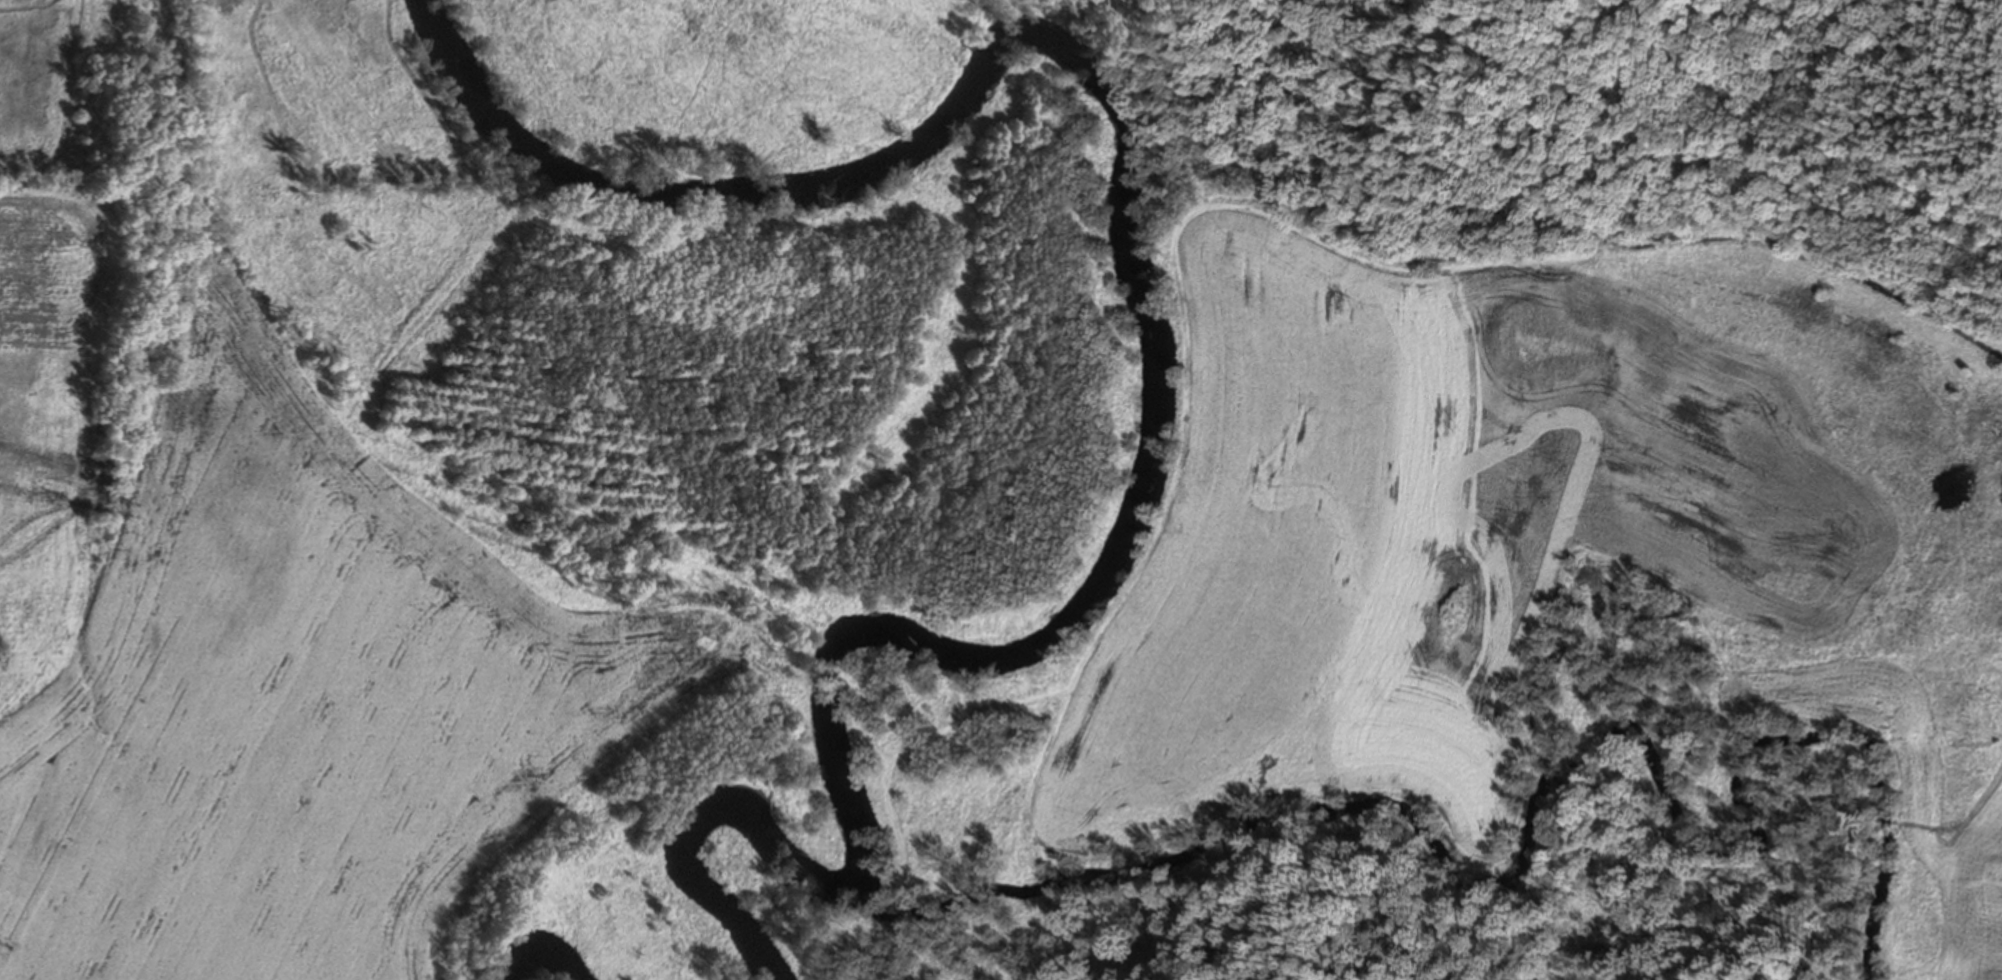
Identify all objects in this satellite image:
river: (1164, 331)
river: (541, 966)

